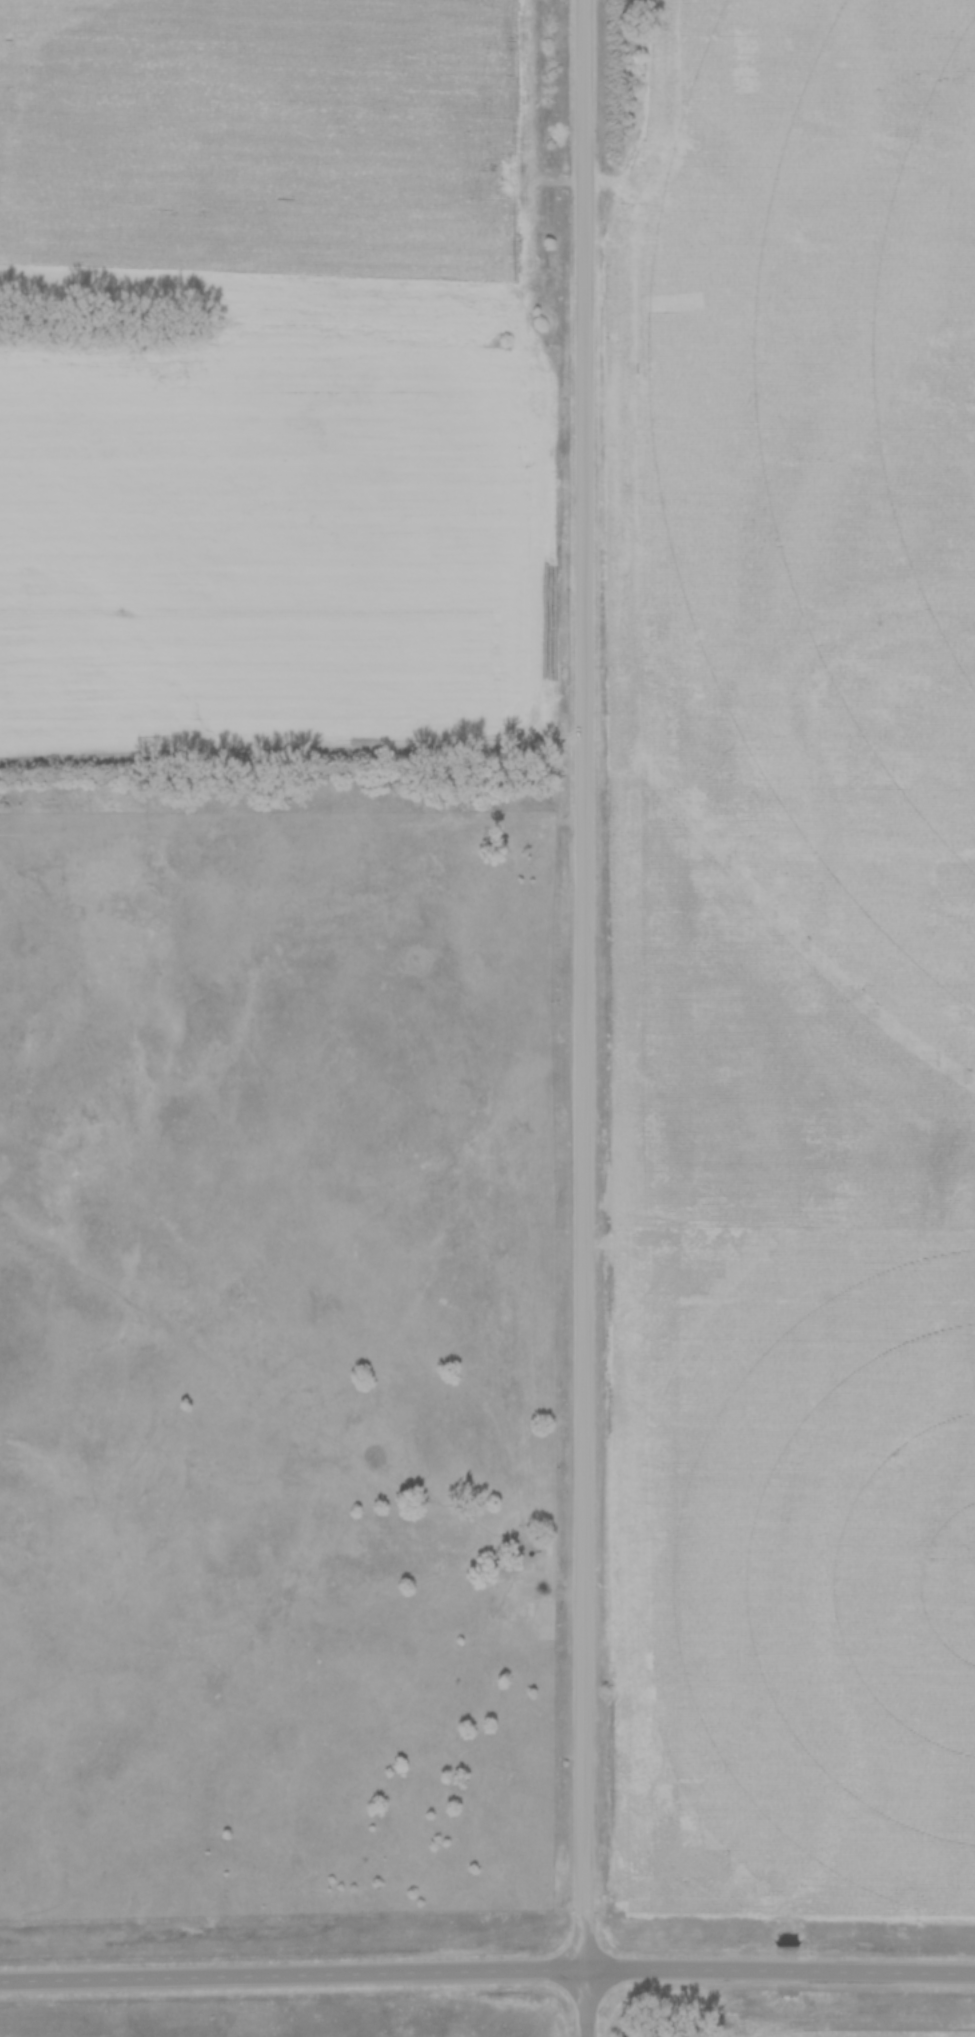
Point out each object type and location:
road: (585, 986)
building: (545, 1569)
building: (525, 1608)
building: (546, 1620)
road: (487, 1972)
road: (586, 2004)

